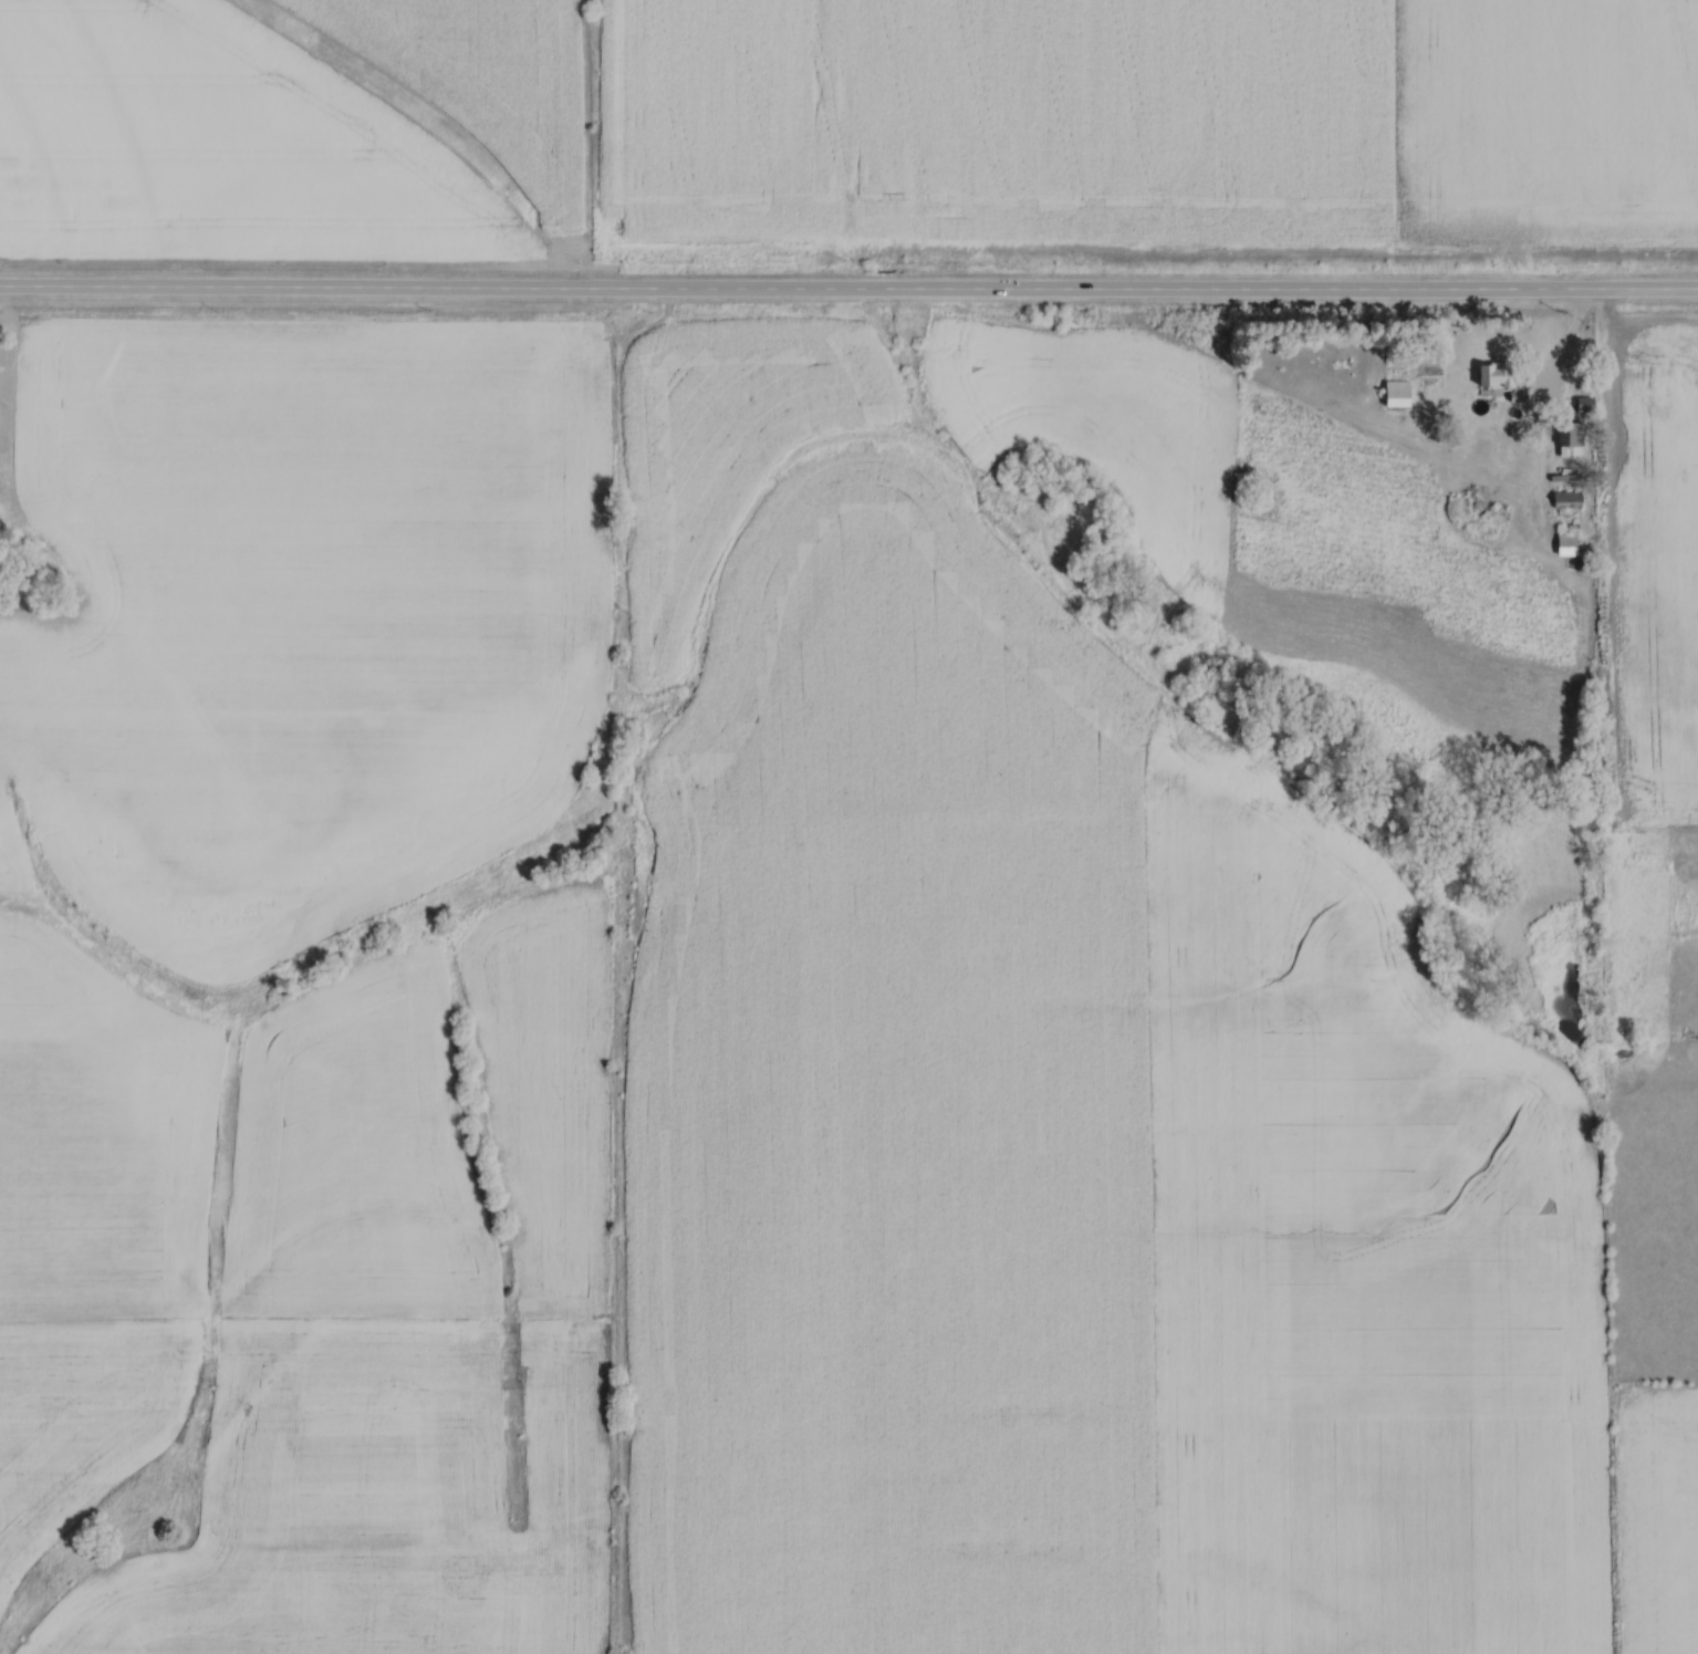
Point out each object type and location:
road: (848, 288)
building: (1501, 373)
building: (1402, 392)
building: (1588, 402)
building: (1575, 437)
building: (1571, 498)
building: (1570, 541)

